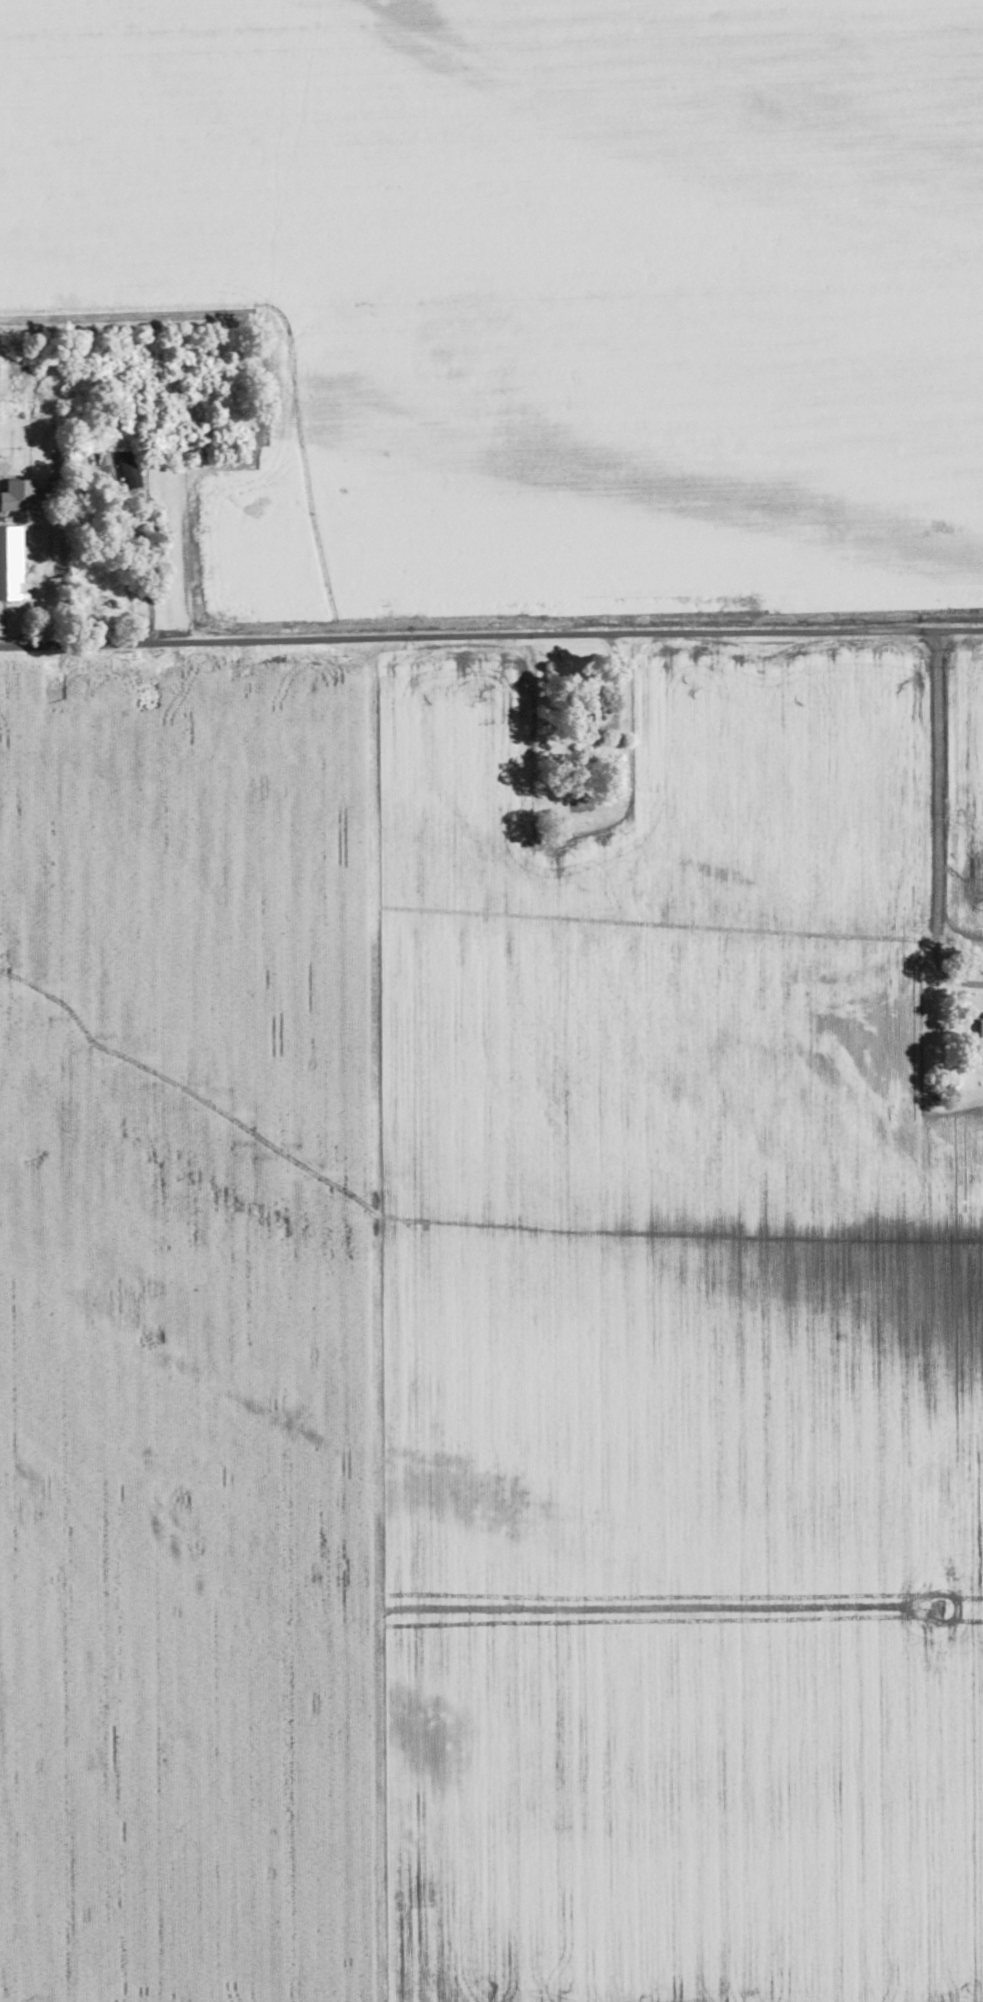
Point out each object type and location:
building: (19, 495)
building: (9, 565)
road: (143, 572)
building: (93, 606)
building: (128, 611)
road: (491, 637)
building: (581, 710)
road: (942, 818)
building: (979, 1028)

